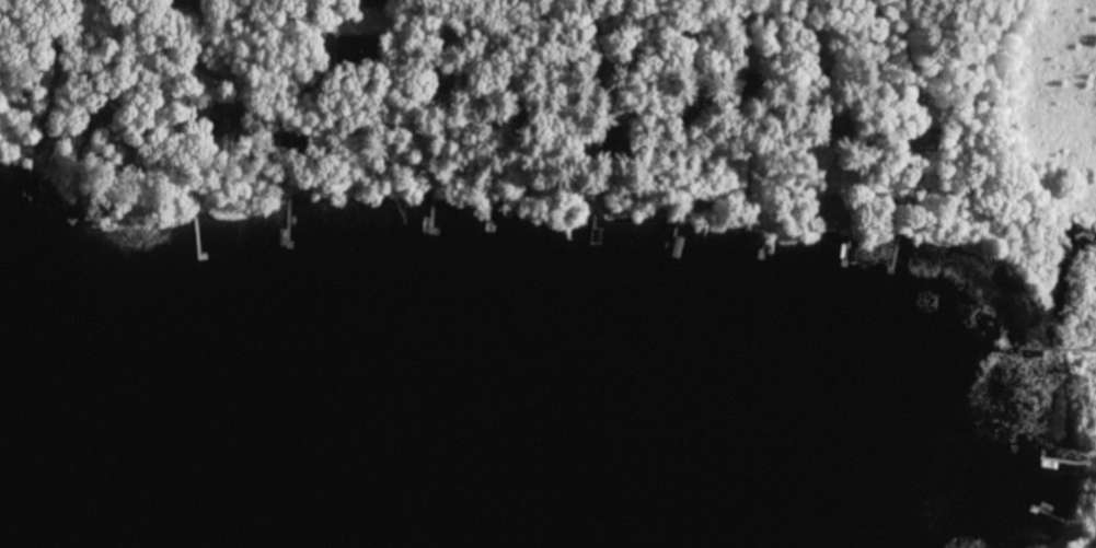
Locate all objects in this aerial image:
road: (546, 59)

